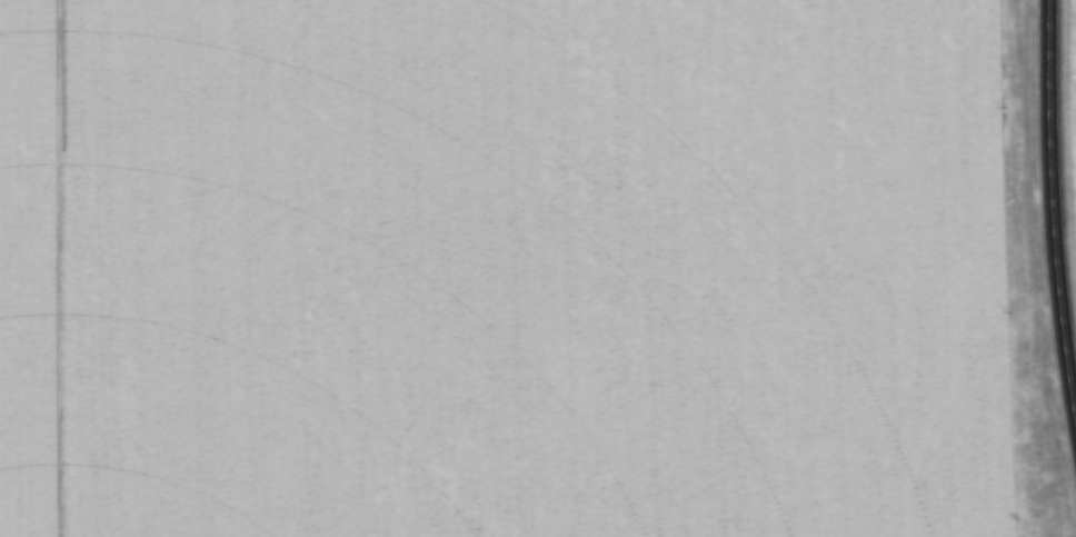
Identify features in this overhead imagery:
road: (1054, 189)

